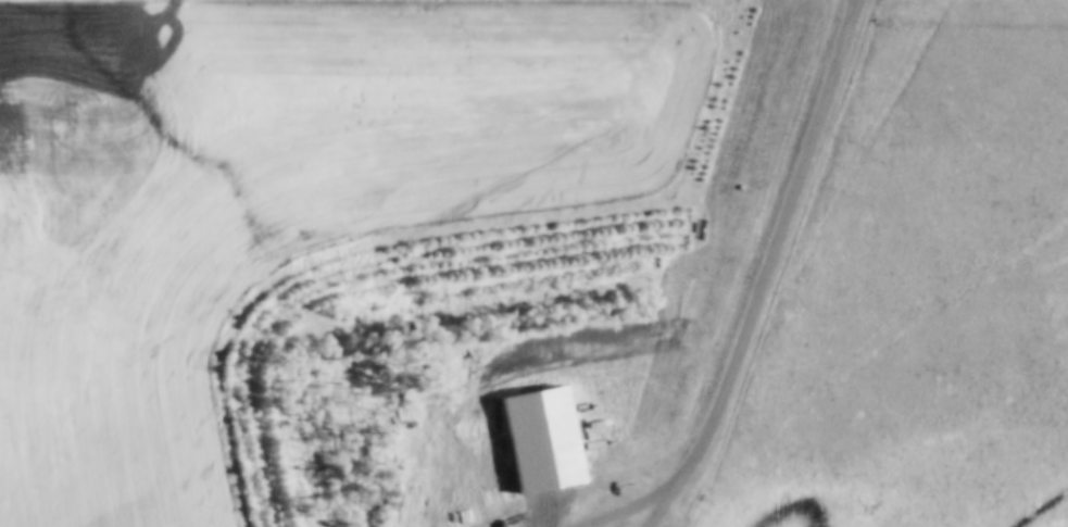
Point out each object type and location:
road: (764, 292)

